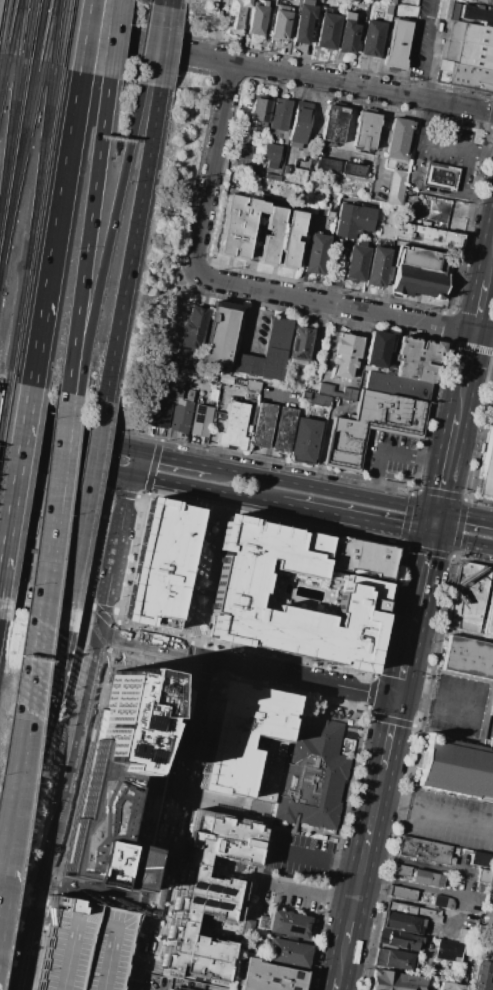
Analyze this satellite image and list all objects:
building: (319, 0)
road: (160, 1)
building: (392, 2)
building: (483, 2)
road: (170, 3)
building: (264, 3)
building: (443, 9)
building: (388, 12)
building: (478, 14)
building: (235, 17)
building: (257, 20)
building: (304, 21)
building: (280, 23)
railway: (4, 25)
railway: (14, 29)
railway: (21, 30)
building: (327, 30)
railway: (30, 31)
railway: (38, 31)
railway: (49, 32)
railway: (56, 33)
railway: (64, 34)
building: (348, 34)
road: (86, 36)
road: (113, 38)
building: (371, 38)
road: (150, 43)
building: (396, 44)
road: (164, 47)
parking lot: (420, 49)
road: (426, 49)
building: (467, 56)
road: (246, 64)
railway: (4, 78)
building: (261, 111)
building: (280, 114)
building: (299, 123)
building: (333, 123)
railway: (8, 127)
building: (365, 130)
railway: (12, 137)
building: (399, 138)
parking lot: (441, 143)
road: (382, 144)
road: (457, 145)
building: (245, 152)
building: (271, 155)
building: (306, 164)
railway: (16, 165)
building: (329, 165)
railway: (21, 166)
building: (412, 167)
railway: (38, 169)
railway: (42, 169)
building: (286, 169)
building: (354, 169)
building: (439, 176)
road: (411, 184)
building: (396, 187)
road: (61, 193)
building: (353, 220)
road: (87, 232)
building: (285, 232)
road: (107, 236)
building: (428, 236)
road: (131, 243)
building: (316, 253)
building: (356, 263)
road: (490, 265)
building: (377, 267)
road: (334, 272)
building: (420, 273)
road: (240, 286)
road: (481, 306)
road: (252, 320)
railway: (16, 326)
building: (193, 328)
building: (219, 335)
building: (299, 345)
building: (376, 348)
road: (36, 350)
building: (268, 353)
building: (346, 355)
building: (417, 358)
road: (469, 359)
building: (167, 371)
building: (185, 371)
building: (180, 380)
road: (1, 381)
building: (239, 381)
railway: (6, 383)
building: (256, 384)
building: (290, 384)
building: (396, 386)
railway: (1, 392)
road: (73, 392)
building: (239, 392)
building: (324, 394)
building: (189, 395)
road: (277, 395)
building: (213, 396)
building: (247, 397)
road: (461, 400)
railway: (3, 404)
building: (160, 410)
building: (180, 414)
road: (215, 418)
building: (201, 420)
building: (262, 425)
building: (372, 426)
building: (233, 427)
building: (284, 429)
road: (138, 433)
road: (269, 435)
road: (68, 437)
building: (304, 440)
road: (390, 449)
traffic signals: (138, 452)
parking lot: (390, 457)
road: (41, 458)
road: (110, 459)
road: (174, 459)
road: (447, 462)
road: (134, 463)
road: (152, 466)
road: (107, 469)
road: (236, 471)
building: (488, 473)
traffic signals: (131, 474)
road: (15, 480)
road: (206, 488)
road: (107, 492)
road: (349, 493)
road: (122, 494)
road: (7, 495)
road: (141, 496)
traffic signals: (437, 511)
road: (82, 514)
road: (465, 515)
road: (101, 516)
road: (112, 518)
road: (356, 518)
road: (51, 520)
road: (434, 523)
road: (118, 531)
road: (105, 535)
traffic signals: (432, 535)
road: (46, 540)
road: (462, 541)
road: (398, 545)
road: (94, 546)
building: (363, 558)
road: (48, 560)
building: (160, 563)
road: (212, 563)
road: (44, 567)
building: (291, 596)
building: (467, 597)
building: (64, 599)
road: (119, 602)
road: (86, 605)
road: (417, 607)
road: (103, 608)
road: (103, 610)
road: (116, 611)
building: (489, 618)
road: (114, 634)
road: (191, 640)
road: (153, 645)
road: (190, 648)
building: (469, 657)
road: (303, 677)
road: (400, 689)
road: (321, 697)
traffic signals: (398, 699)
road: (84, 700)
road: (352, 704)
parking lot: (458, 704)
road: (437, 707)
building: (491, 708)
road: (392, 721)
road: (34, 736)
building: (243, 739)
building: (458, 767)
building: (314, 776)
building: (120, 781)
road: (12, 796)
road: (217, 800)
road: (433, 810)
road: (171, 817)
parking lot: (450, 819)
road: (370, 823)
road: (51, 844)
building: (425, 850)
parking lot: (302, 857)
road: (316, 857)
building: (481, 859)
road: (411, 862)
building: (401, 870)
building: (484, 876)
building: (427, 878)
building: (491, 878)
road: (263, 879)
road: (416, 885)
road: (308, 893)
building: (403, 893)
building: (211, 898)
building: (443, 901)
road: (404, 902)
building: (492, 906)
building: (412, 911)
building: (487, 919)
road: (42, 922)
road: (349, 923)
building: (403, 923)
building: (283, 924)
building: (248, 926)
building: (463, 935)
building: (399, 939)
building: (85, 946)
parking lot: (85, 946)
building: (448, 951)
building: (287, 952)
road: (26, 956)
building: (397, 960)
road: (341, 961)
building: (482, 975)
building: (270, 976)
building: (397, 981)
road: (134, 984)
road: (336, 984)
building: (450, 986)
road: (162, 987)
building: (170, 989)
road: (218, 989)

